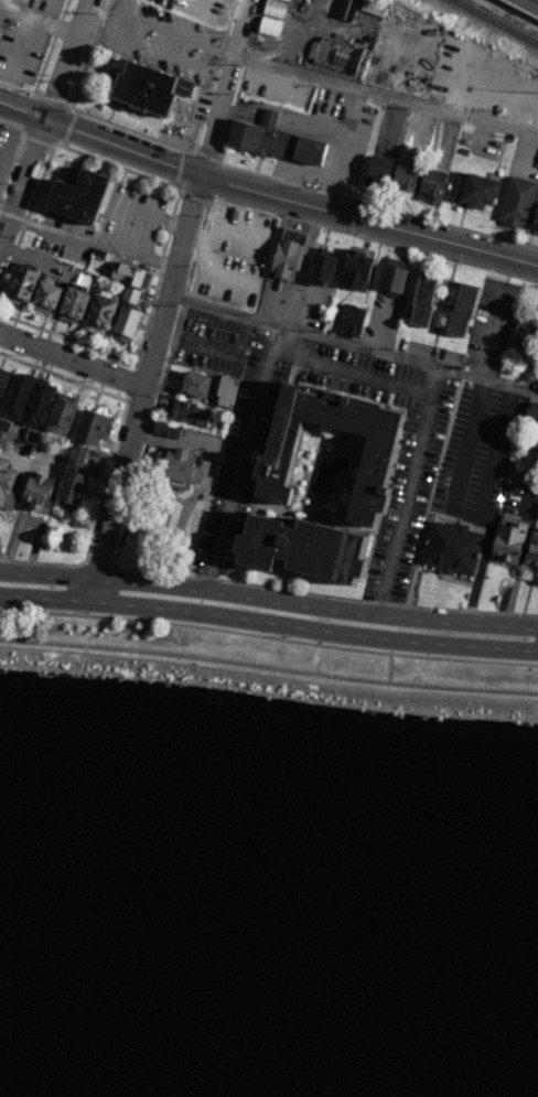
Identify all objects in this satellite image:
building: (286, 1)
building: (376, 7)
road: (194, 8)
building: (276, 9)
building: (348, 9)
parking lot: (203, 10)
road: (36, 20)
railway: (498, 21)
building: (271, 28)
road: (118, 34)
parking lot: (26, 39)
parking lot: (160, 39)
road: (19, 47)
road: (89, 54)
building: (338, 56)
parking lot: (475, 80)
road: (17, 88)
building: (150, 89)
road: (373, 90)
road: (496, 92)
road: (49, 97)
road: (42, 118)
road: (68, 128)
building: (263, 137)
road: (305, 137)
road: (36, 140)
road: (162, 143)
road: (130, 149)
road: (15, 151)
road: (205, 157)
road: (177, 169)
building: (380, 173)
building: (406, 180)
road: (295, 183)
building: (432, 187)
building: (474, 190)
road: (197, 193)
road: (193, 196)
building: (80, 197)
building: (518, 202)
road: (174, 203)
road: (131, 204)
building: (536, 226)
road: (399, 228)
road: (369, 236)
road: (94, 237)
building: (290, 255)
parking lot: (234, 257)
building: (324, 268)
building: (356, 271)
building: (131, 275)
building: (394, 280)
building: (23, 286)
building: (131, 295)
building: (46, 299)
building: (423, 301)
building: (75, 306)
building: (464, 311)
building: (100, 315)
building: (352, 320)
building: (128, 321)
road: (492, 331)
building: (526, 341)
road: (354, 344)
road: (219, 353)
road: (73, 358)
road: (353, 370)
building: (529, 372)
building: (3, 381)
road: (131, 381)
road: (160, 384)
building: (197, 386)
building: (226, 395)
building: (19, 398)
building: (40, 406)
building: (532, 412)
building: (191, 415)
building: (62, 419)
building: (4, 426)
building: (93, 429)
building: (168, 430)
building: (537, 431)
parking lot: (248, 433)
building: (32, 437)
building: (4, 441)
building: (77, 456)
road: (111, 456)
building: (535, 456)
parking lot: (484, 459)
road: (241, 460)
building: (179, 471)
road: (120, 483)
road: (205, 484)
building: (7, 485)
building: (373, 487)
building: (72, 492)
road: (408, 492)
building: (40, 494)
road: (466, 513)
building: (537, 516)
road: (26, 521)
building: (510, 544)
building: (453, 549)
building: (534, 552)
road: (100, 563)
road: (47, 577)
road: (92, 591)
road: (326, 595)
road: (315, 607)
street lamp: (142, 617)
road: (268, 625)
street lamp: (284, 636)
road: (268, 638)
street lamp: (429, 654)
road: (268, 669)
river: (268, 959)

